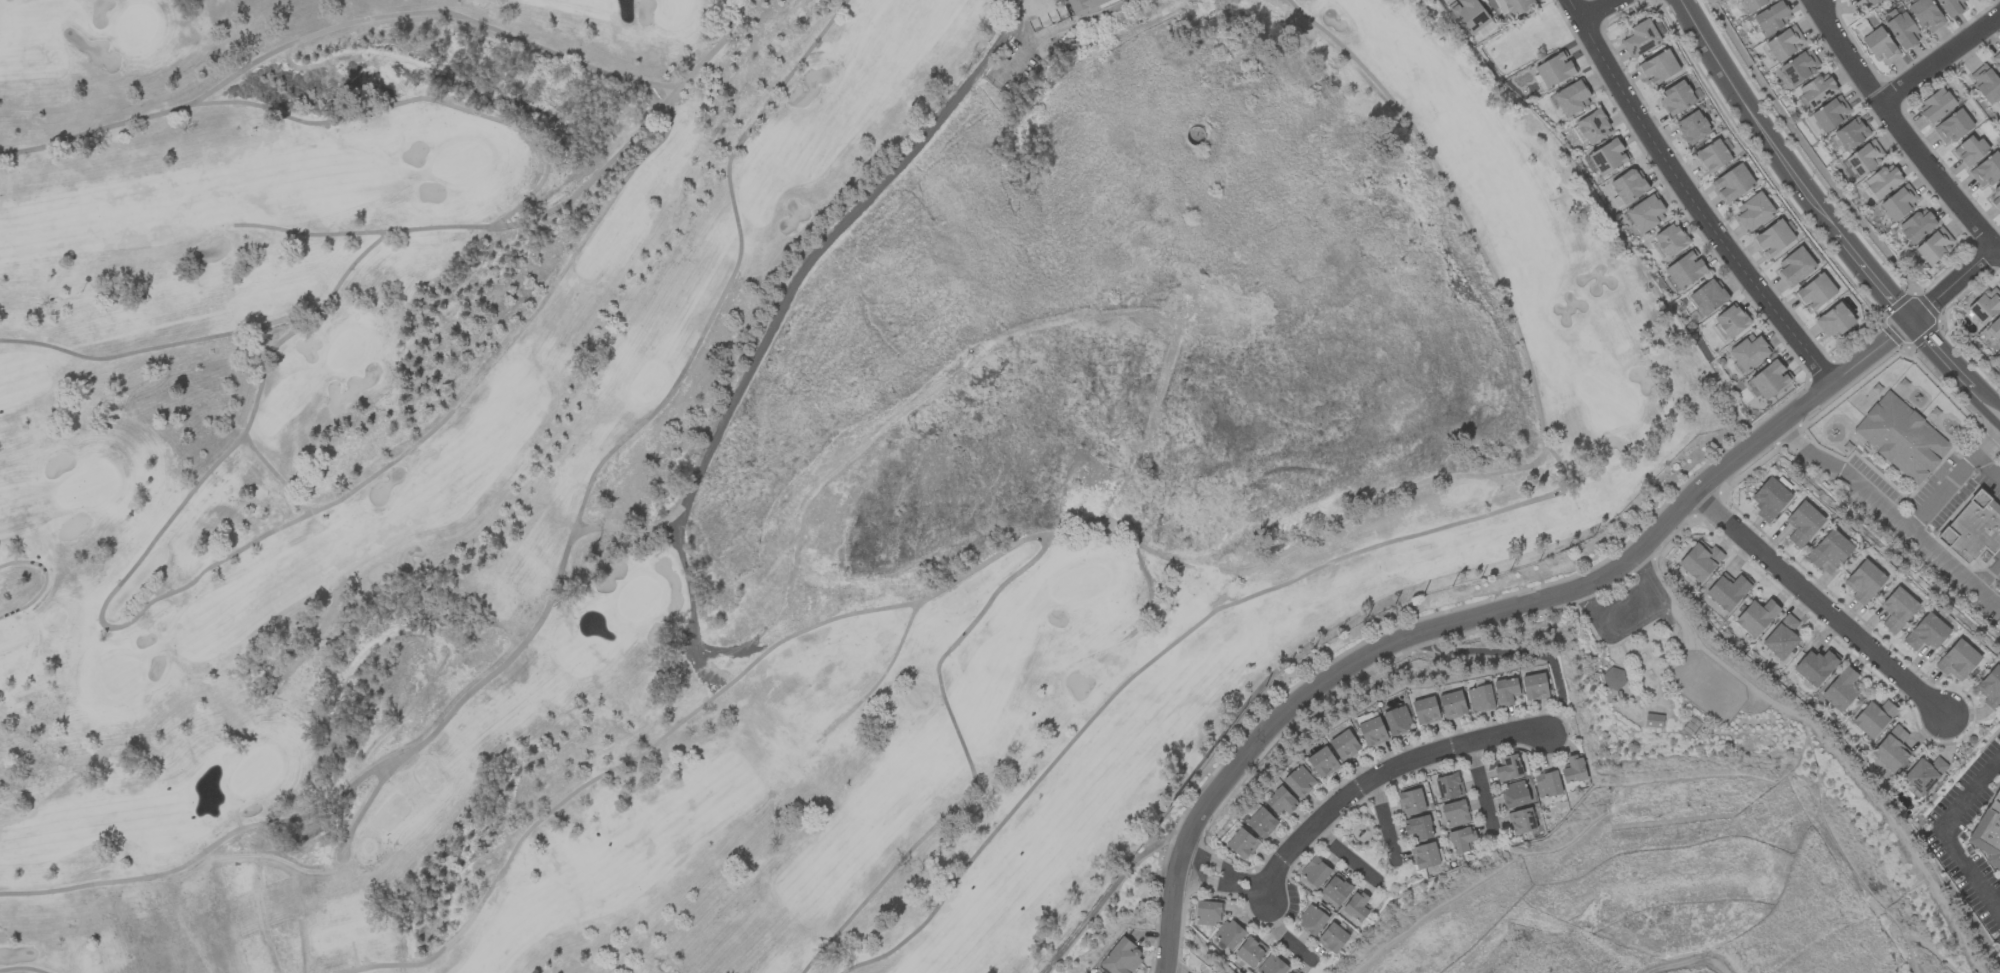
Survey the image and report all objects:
building: (1872, 2)
building: (1081, 4)
building: (1751, 4)
building: (1518, 6)
building: (1951, 7)
road: (1600, 11)
building: (1469, 15)
building: (1926, 15)
building: (1772, 17)
building: (1640, 39)
building: (1784, 43)
building: (1880, 46)
road: (1939, 58)
building: (1996, 61)
building: (1658, 67)
building: (1799, 67)
building: (1555, 70)
building: (1985, 83)
building: (1817, 90)
building: (1571, 98)
building: (1675, 98)
building: (1935, 105)
building: (1831, 113)
building: (1593, 126)
building: (1952, 127)
building: (1691, 128)
road: (1902, 132)
building: (1850, 134)
building: (1969, 150)
building: (1711, 156)
building: (1608, 157)
building: (1864, 157)
building: (1986, 170)
building: (1883, 181)
building: (1732, 183)
building: (1627, 187)
road: (1699, 193)
building: (1995, 198)
building: (1899, 202)
building: (1753, 211)
building: (1645, 214)
road: (1827, 215)
building: (1917, 225)
building: (1772, 238)
building: (1670, 239)
road: (821, 245)
building: (1934, 246)
building: (1794, 267)
building: (1685, 269)
building: (1815, 292)
building: (1706, 299)
building: (1985, 305)
building: (1834, 321)
building: (1730, 322)
building: (1995, 328)
building: (1748, 352)
building: (1769, 379)
building: (1901, 437)
park: (746, 455)
road: (1987, 468)
road: (1952, 480)
building: (1769, 499)
road: (1890, 515)
building: (1802, 523)
building: (1973, 528)
building: (1829, 550)
building: (1700, 561)
road: (1988, 574)
building: (1863, 581)
building: (1728, 590)
road: (1539, 599)
road: (1818, 604)
building: (1897, 609)
building: (1756, 617)
road: (1636, 622)
building: (1926, 633)
building: (1781, 637)
building: (1957, 660)
building: (1816, 666)
building: (1613, 678)
building: (1534, 687)
building: (1990, 688)
park: (1672, 690)
building: (1840, 690)
building: (1505, 691)
building: (1479, 699)
building: (1452, 705)
building: (1425, 711)
building: (1873, 718)
building: (1653, 720)
building: (1396, 721)
building: (1372, 732)
building: (1344, 745)
building: (1891, 749)
building: (1322, 762)
building: (1507, 768)
building: (1573, 769)
road: (1381, 774)
building: (1923, 774)
building: (1299, 781)
building: (1547, 784)
road: (1481, 785)
building: (1448, 786)
building: (1514, 794)
building: (1281, 801)
building: (1410, 802)
building: (1454, 813)
road: (1384, 820)
building: (1521, 821)
building: (1261, 823)
building: (1418, 828)
building: (1988, 832)
road: (1953, 833)
building: (1461, 840)
building: (1241, 844)
road: (1346, 855)
building: (1424, 855)
building: (1315, 871)
road: (1222, 877)
building: (1336, 889)
building: (1356, 906)
building: (1208, 913)
building: (1311, 921)
building: (1228, 934)
road: (1279, 936)
building: (1332, 938)
road: (1926, 947)
building: (1250, 952)
building: (1121, 957)
building: (1272, 965)
road: (1708, 966)
building: (1292, 971)

